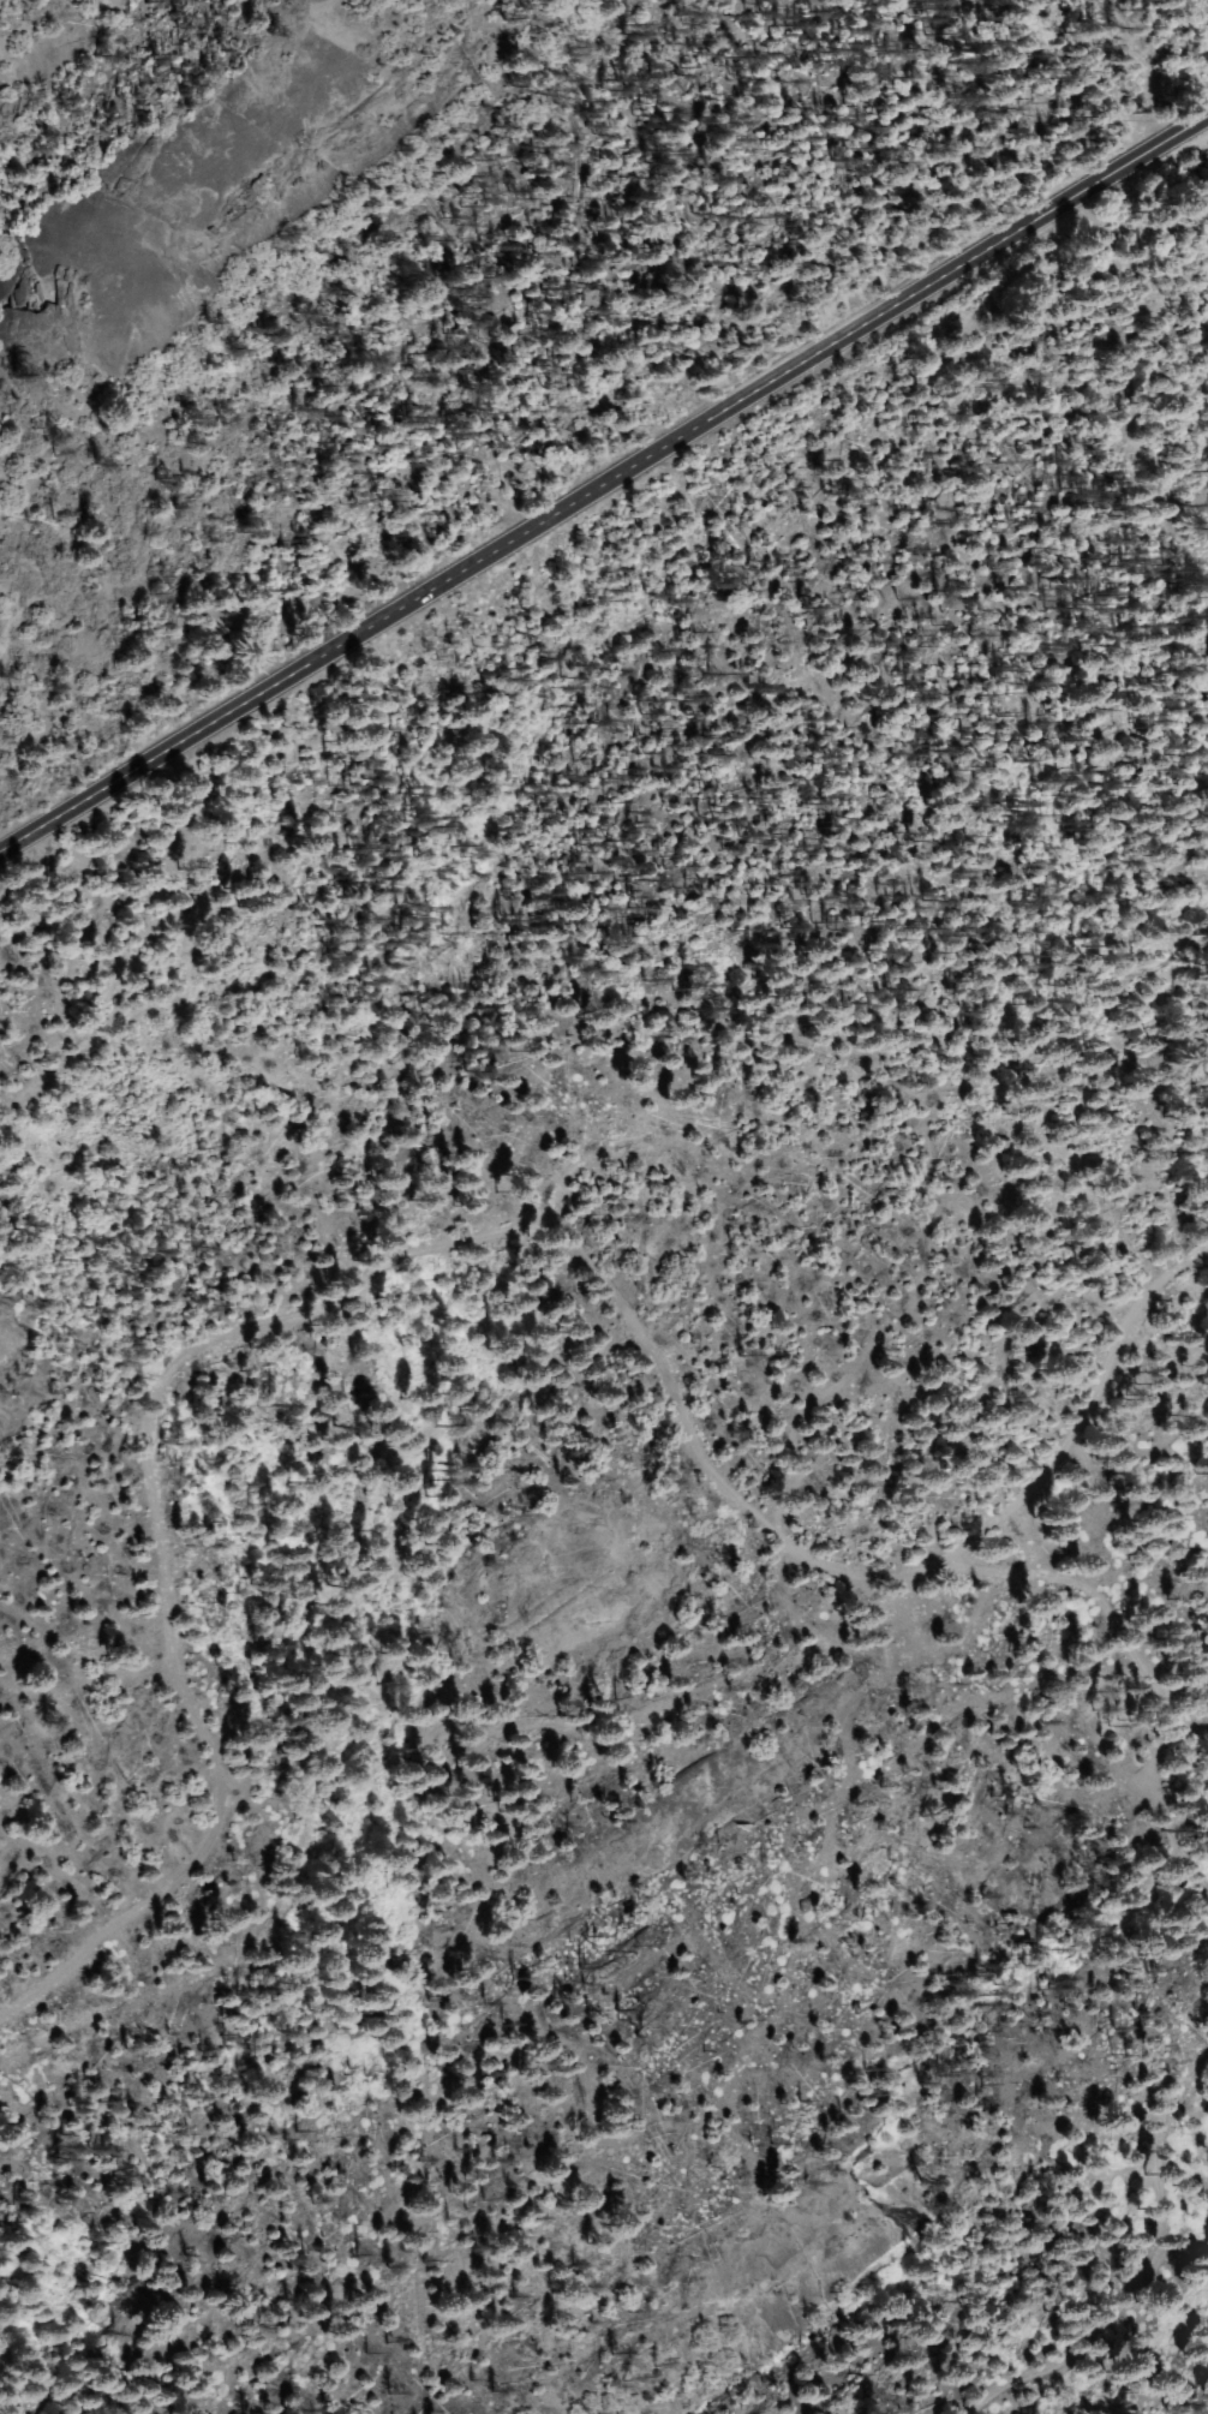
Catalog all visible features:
road: (603, 482)
road: (456, 1238)

